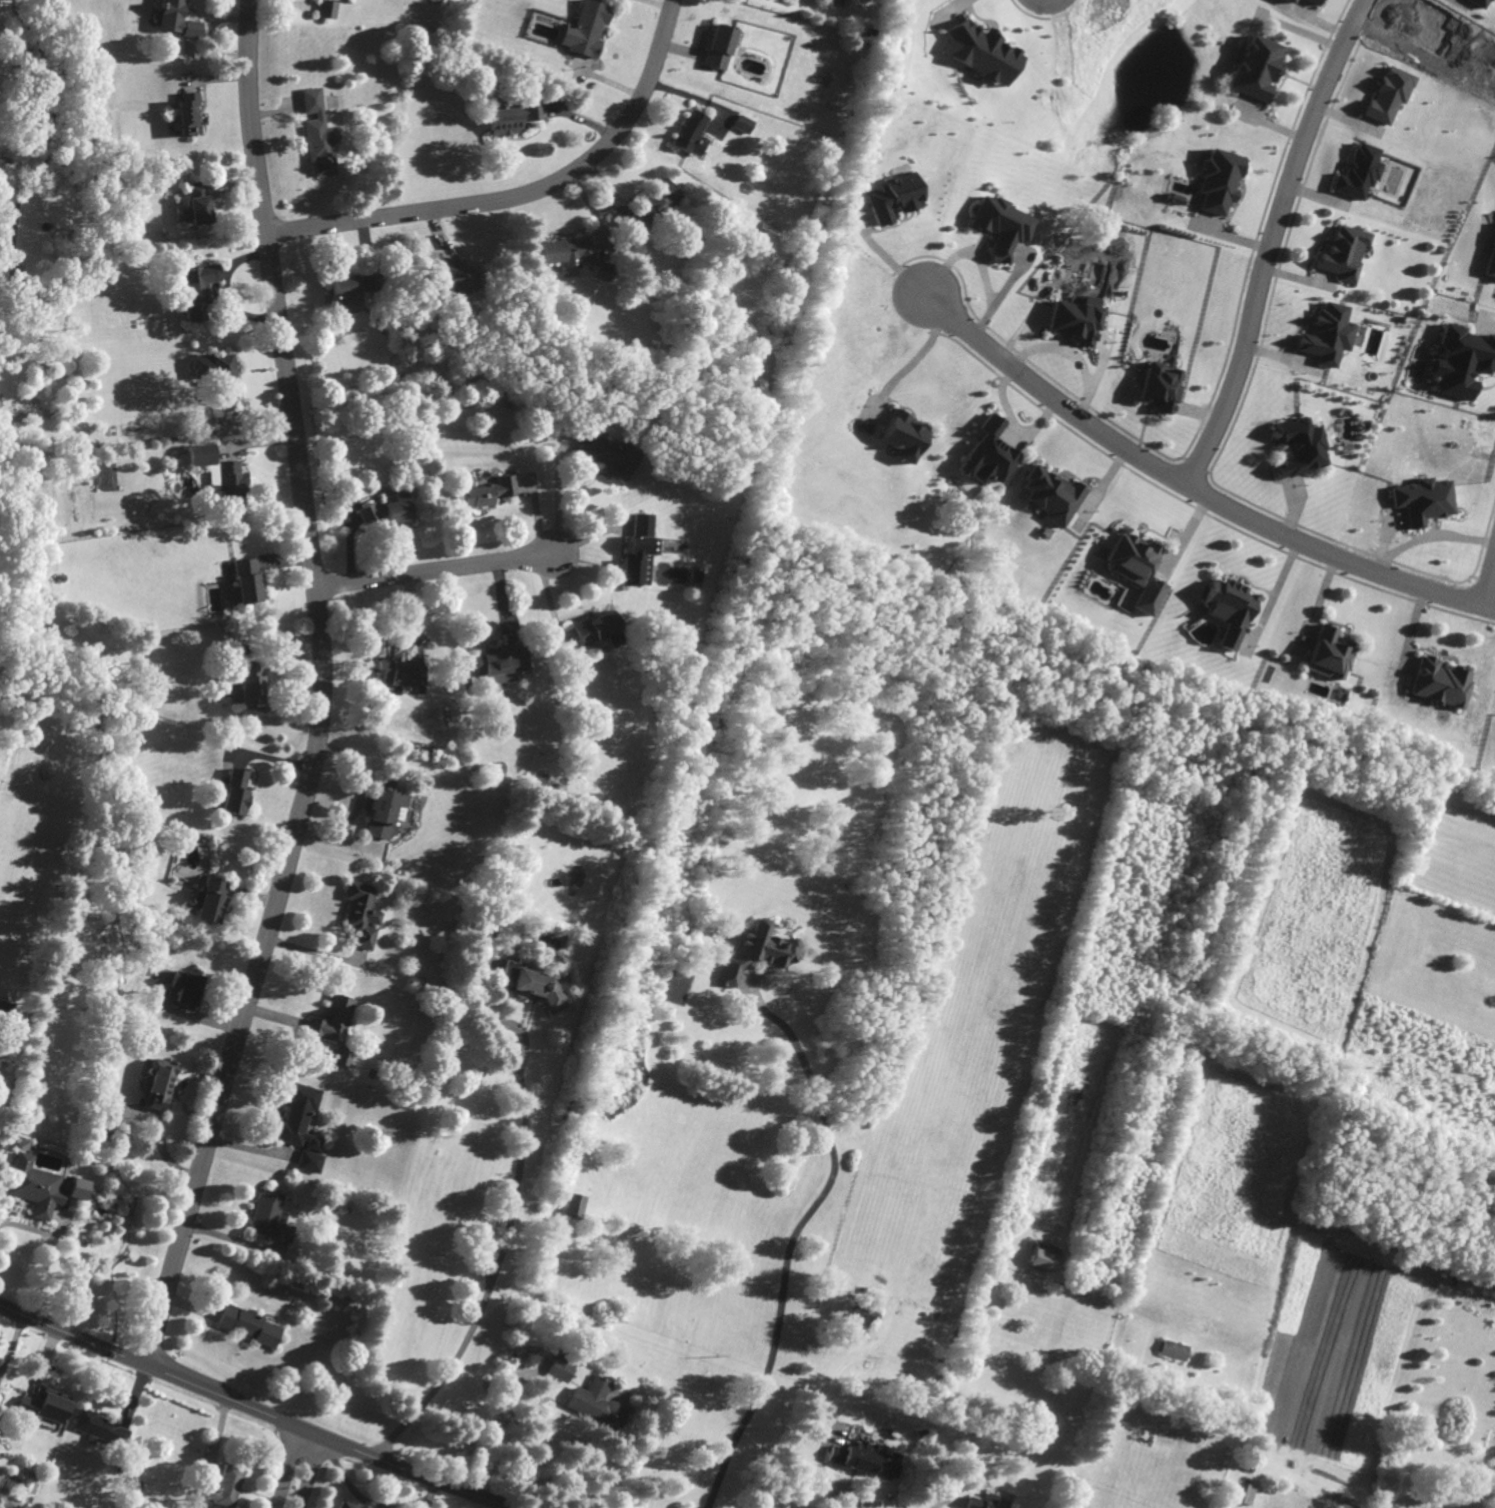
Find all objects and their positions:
building: (1288, 1)
building: (1310, 1)
building: (1480, 3)
building: (330, 8)
building: (177, 19)
building: (587, 28)
building: (720, 46)
building: (982, 51)
building: (1255, 68)
building: (1389, 94)
building: (188, 113)
building: (514, 118)
building: (745, 123)
building: (692, 132)
building: (321, 134)
building: (1358, 172)
building: (1217, 180)
road: (527, 194)
building: (894, 198)
building: (661, 200)
building: (198, 202)
building: (1001, 226)
road: (1271, 241)
building: (567, 251)
building: (1345, 252)
building: (1491, 263)
building: (458, 279)
building: (353, 286)
building: (196, 288)
building: (1074, 319)
building: (1328, 334)
road: (1069, 358)
road: (915, 360)
building: (1462, 361)
building: (216, 374)
building: (1160, 386)
building: (902, 435)
building: (1302, 448)
building: (611, 454)
building: (988, 455)
building: (220, 474)
road: (1190, 487)
building: (490, 492)
building: (1052, 495)
building: (1425, 500)
building: (388, 510)
building: (641, 551)
building: (1138, 570)
road: (440, 572)
building: (247, 580)
road: (1489, 585)
building: (1230, 610)
building: (597, 627)
building: (1330, 654)
building: (506, 663)
building: (481, 665)
building: (405, 668)
building: (1441, 682)
building: (251, 683)
road: (325, 692)
building: (237, 792)
building: (386, 809)
building: (210, 899)
building: (363, 913)
building: (756, 952)
building: (533, 984)
building: (187, 988)
building: (160, 1085)
building: (303, 1125)
building: (36, 1186)
building: (77, 1188)
building: (575, 1206)
building: (273, 1217)
road: (512, 1219)
road: (788, 1249)
road: (52, 1252)
building: (1047, 1256)
building: (858, 1318)
building: (251, 1325)
building: (1176, 1350)
building: (561, 1366)
building: (46, 1404)
building: (596, 1404)
road: (254, 1408)
building: (102, 1428)
road: (495, 1438)
building: (867, 1460)
road: (289, 1468)
road: (314, 1473)
road: (836, 1481)
building: (227, 1486)
building: (1246, 1493)
road: (941, 1501)
building: (988, 1502)
building: (349, 1504)

